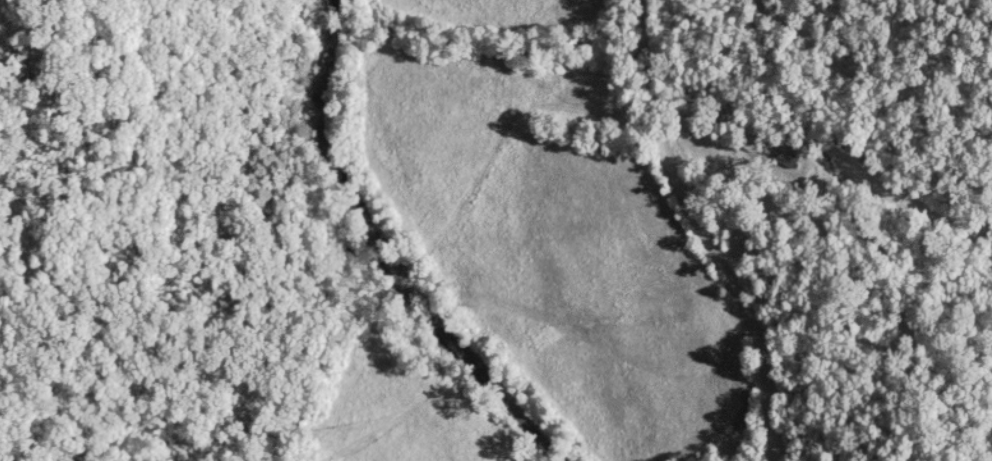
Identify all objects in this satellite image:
building: (788, 158)
road: (702, 231)

